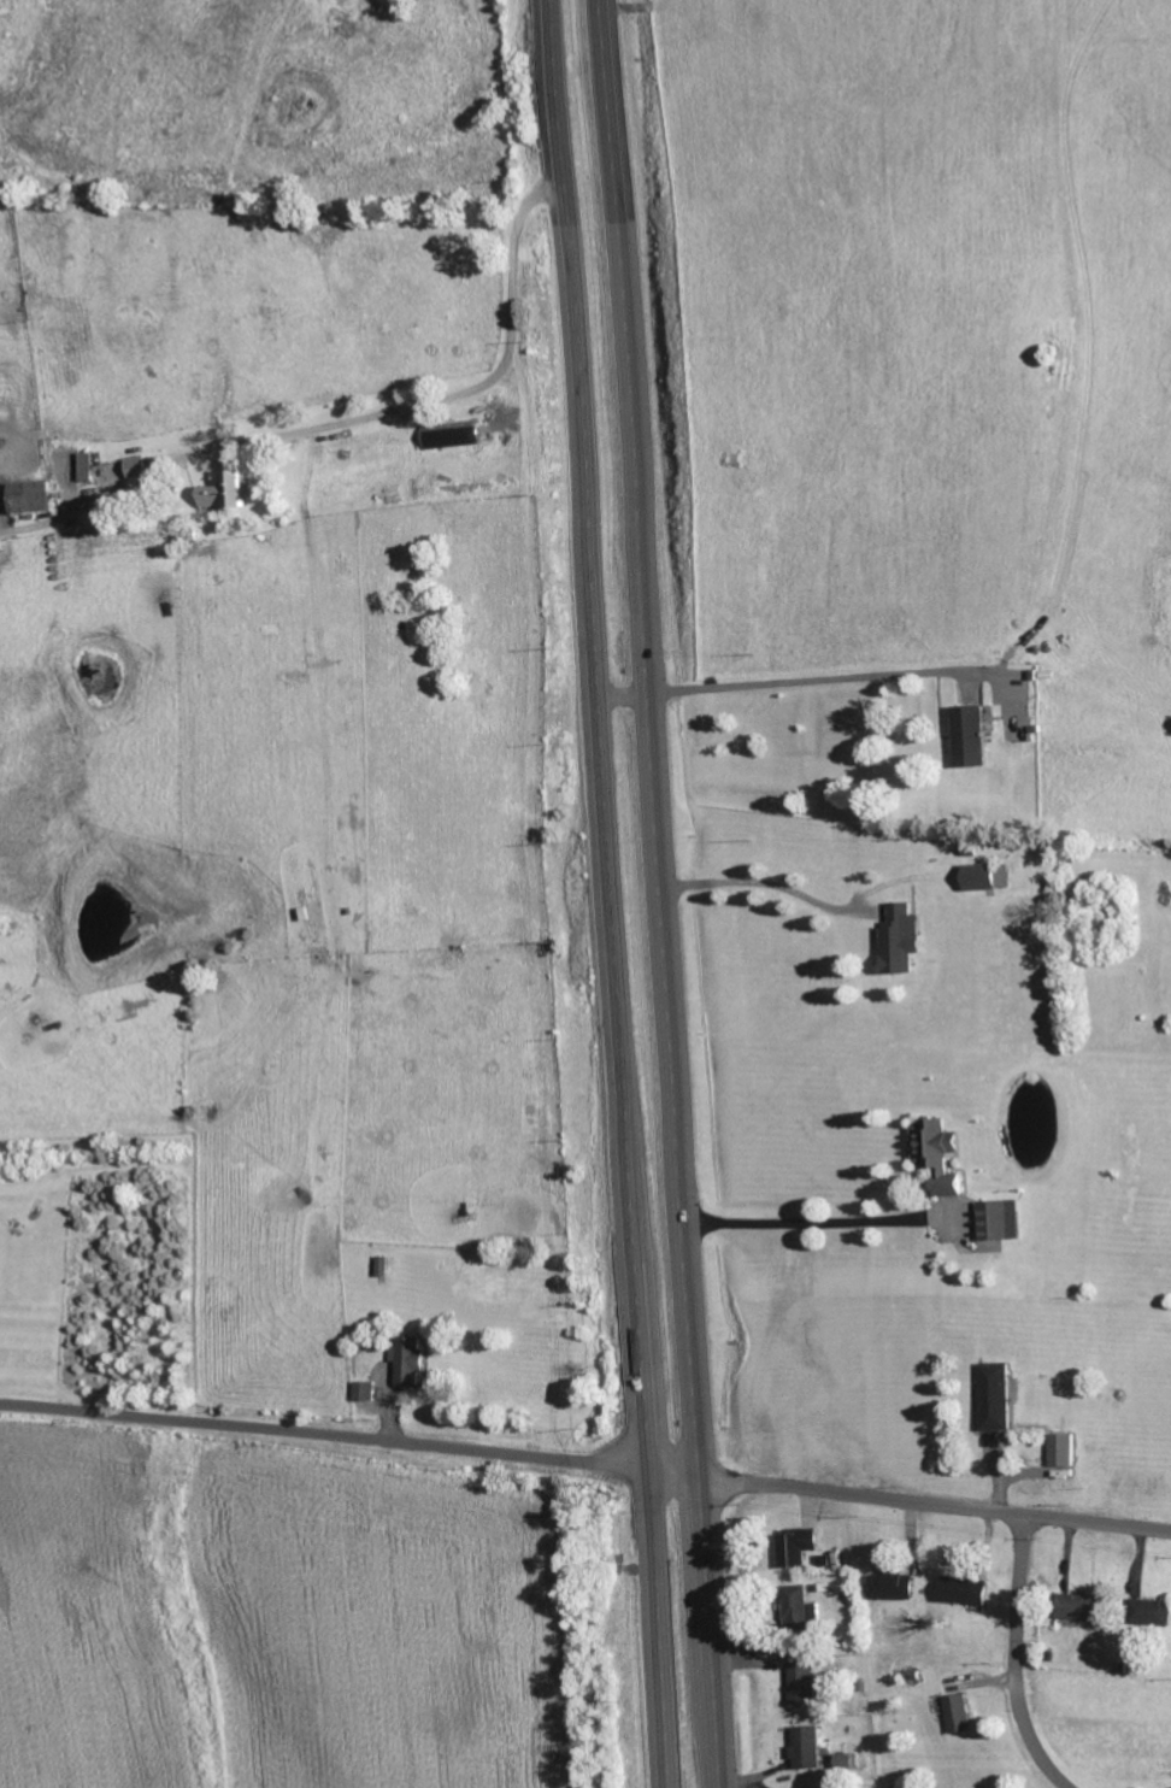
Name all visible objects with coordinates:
road: (446, 396)
building: (88, 467)
building: (139, 467)
building: (229, 492)
building: (36, 498)
road: (819, 678)
road: (624, 694)
building: (975, 736)
building: (985, 878)
road: (613, 893)
road: (664, 893)
building: (904, 941)
building: (941, 1154)
building: (1004, 1221)
building: (386, 1268)
building: (412, 1361)
building: (365, 1393)
building: (999, 1398)
road: (325, 1434)
building: (1067, 1451)
road: (911, 1498)
building: (801, 1548)
building: (896, 1588)
building: (969, 1593)
building: (804, 1608)
building: (1089, 1608)
building: (1152, 1613)
road: (1017, 1659)
building: (805, 1684)
building: (961, 1716)
building: (810, 1749)

